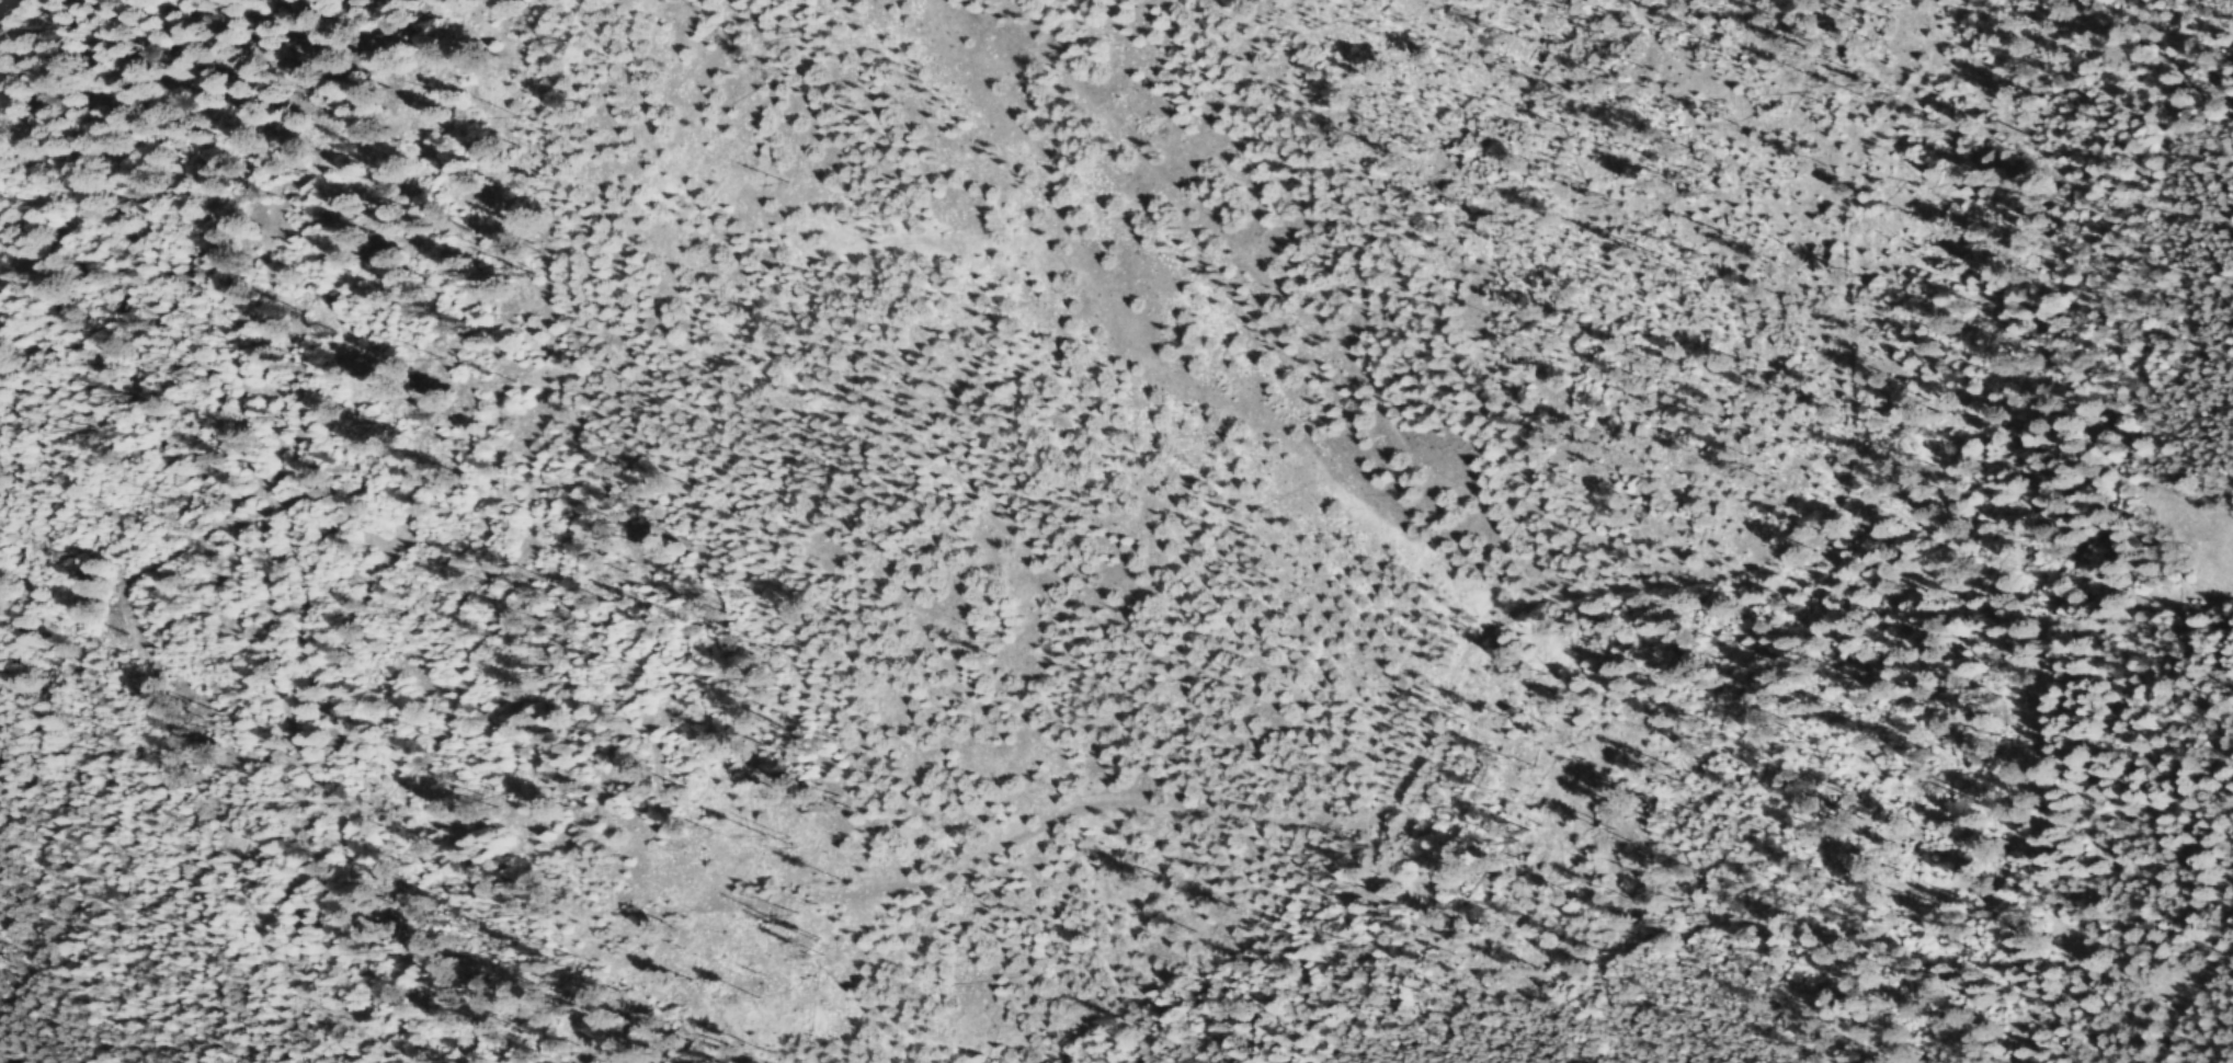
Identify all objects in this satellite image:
road: (2190, 1009)

